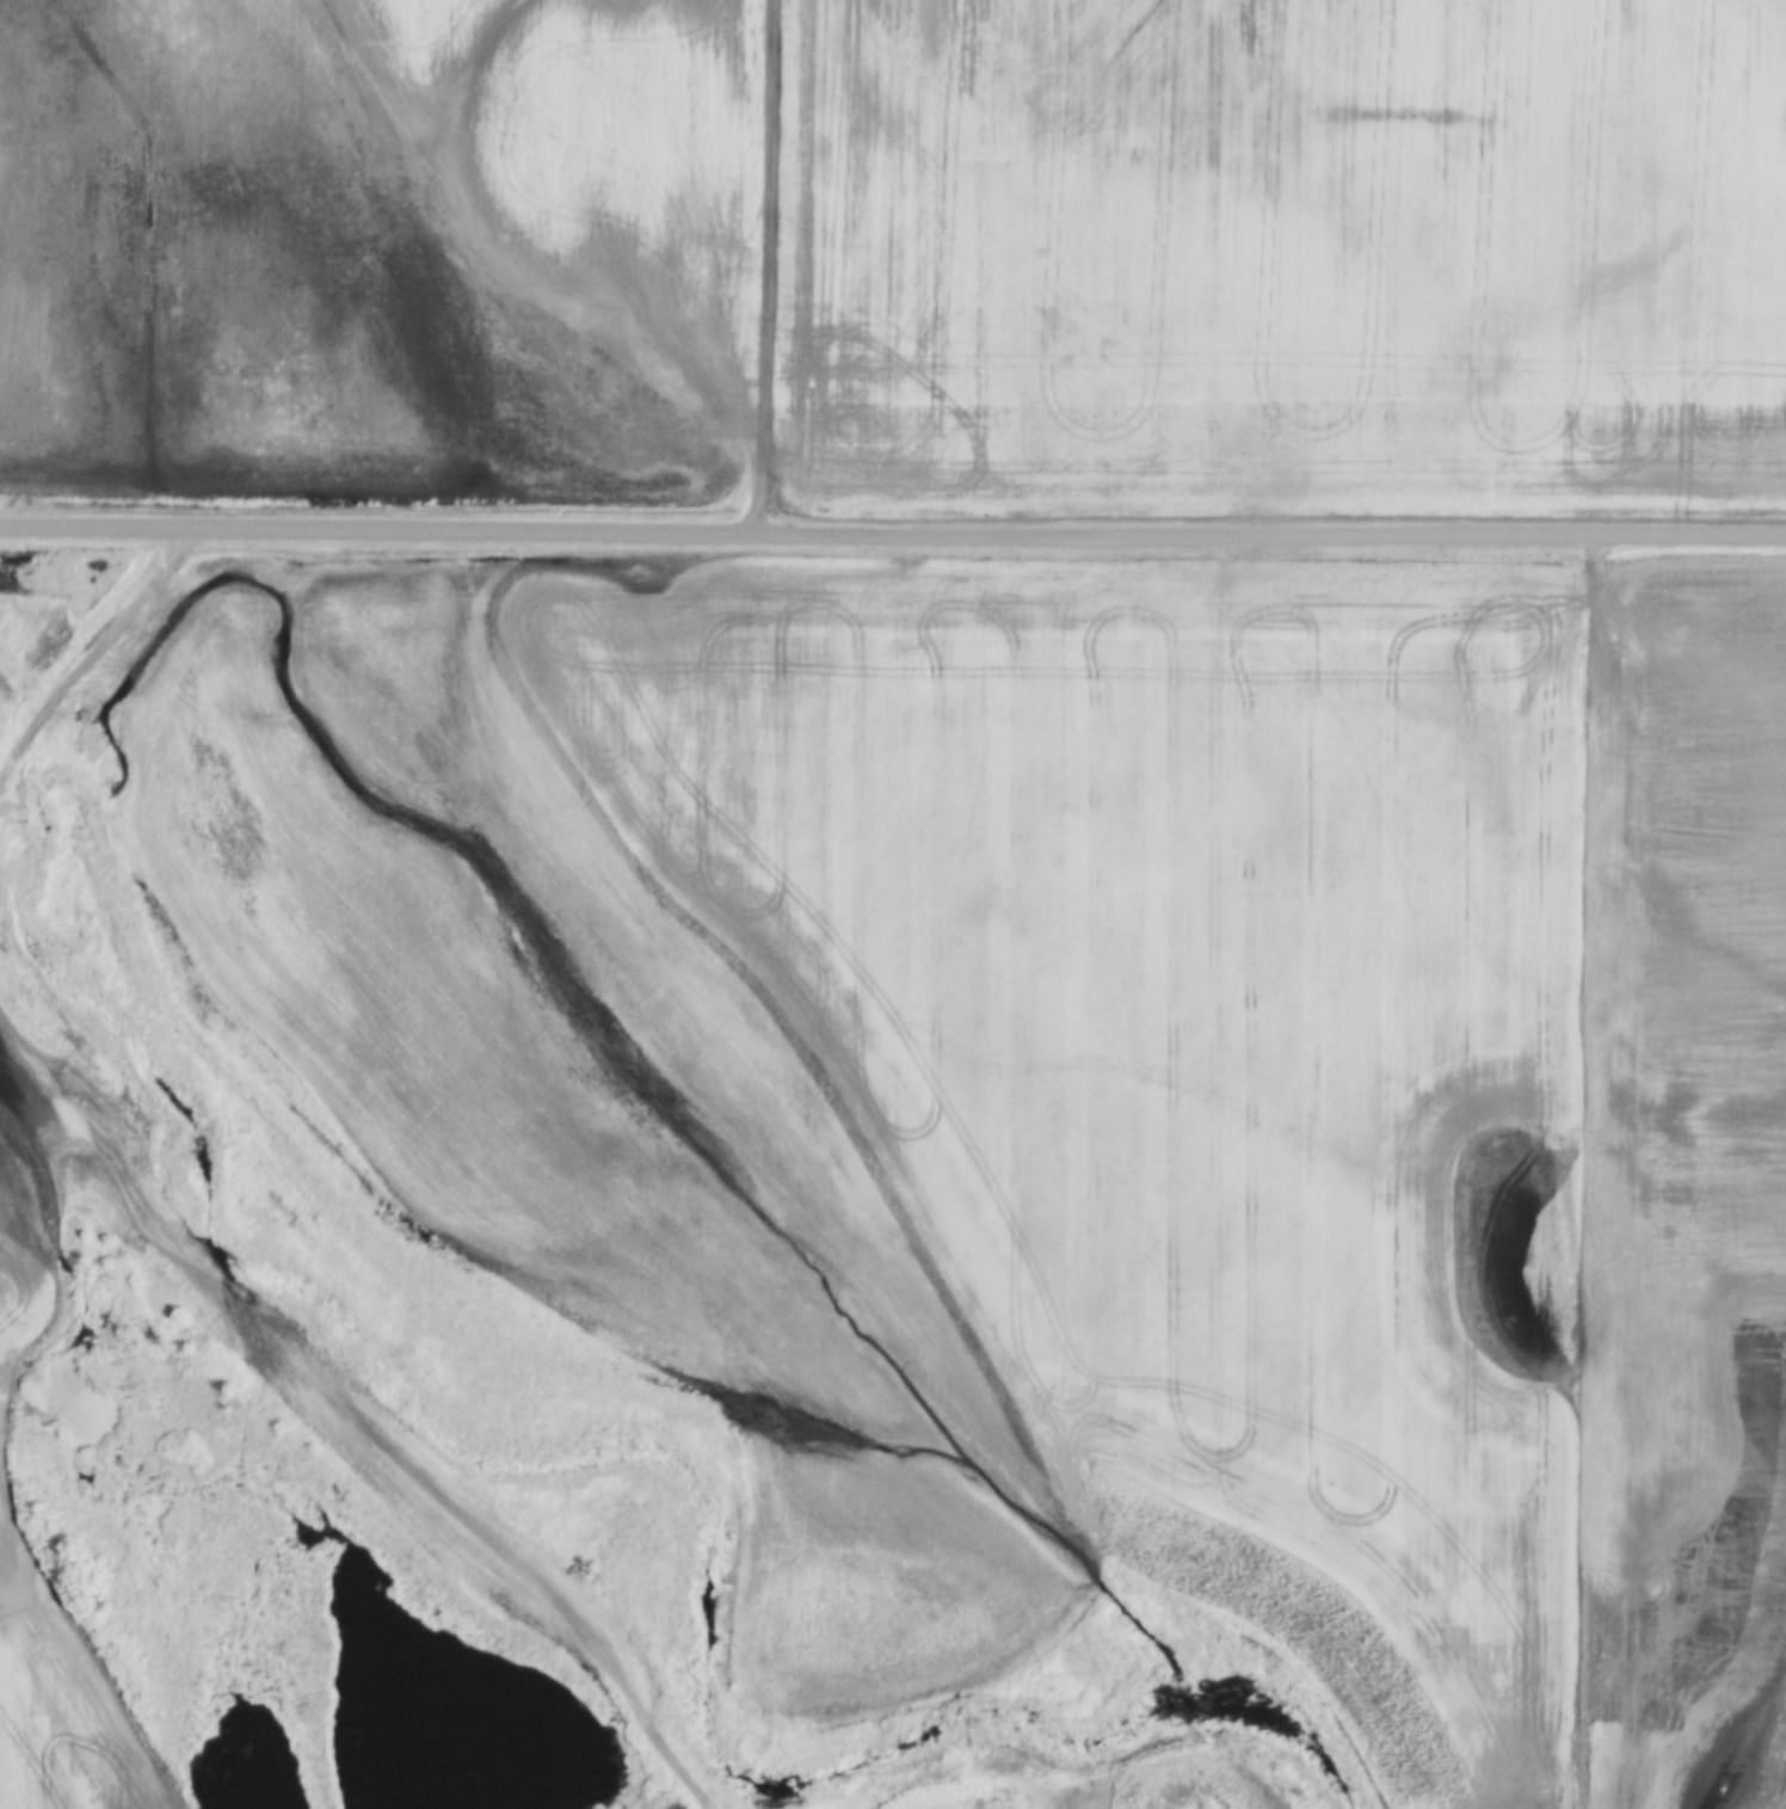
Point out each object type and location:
road: (893, 535)
road: (96, 664)
road: (357, 1411)

